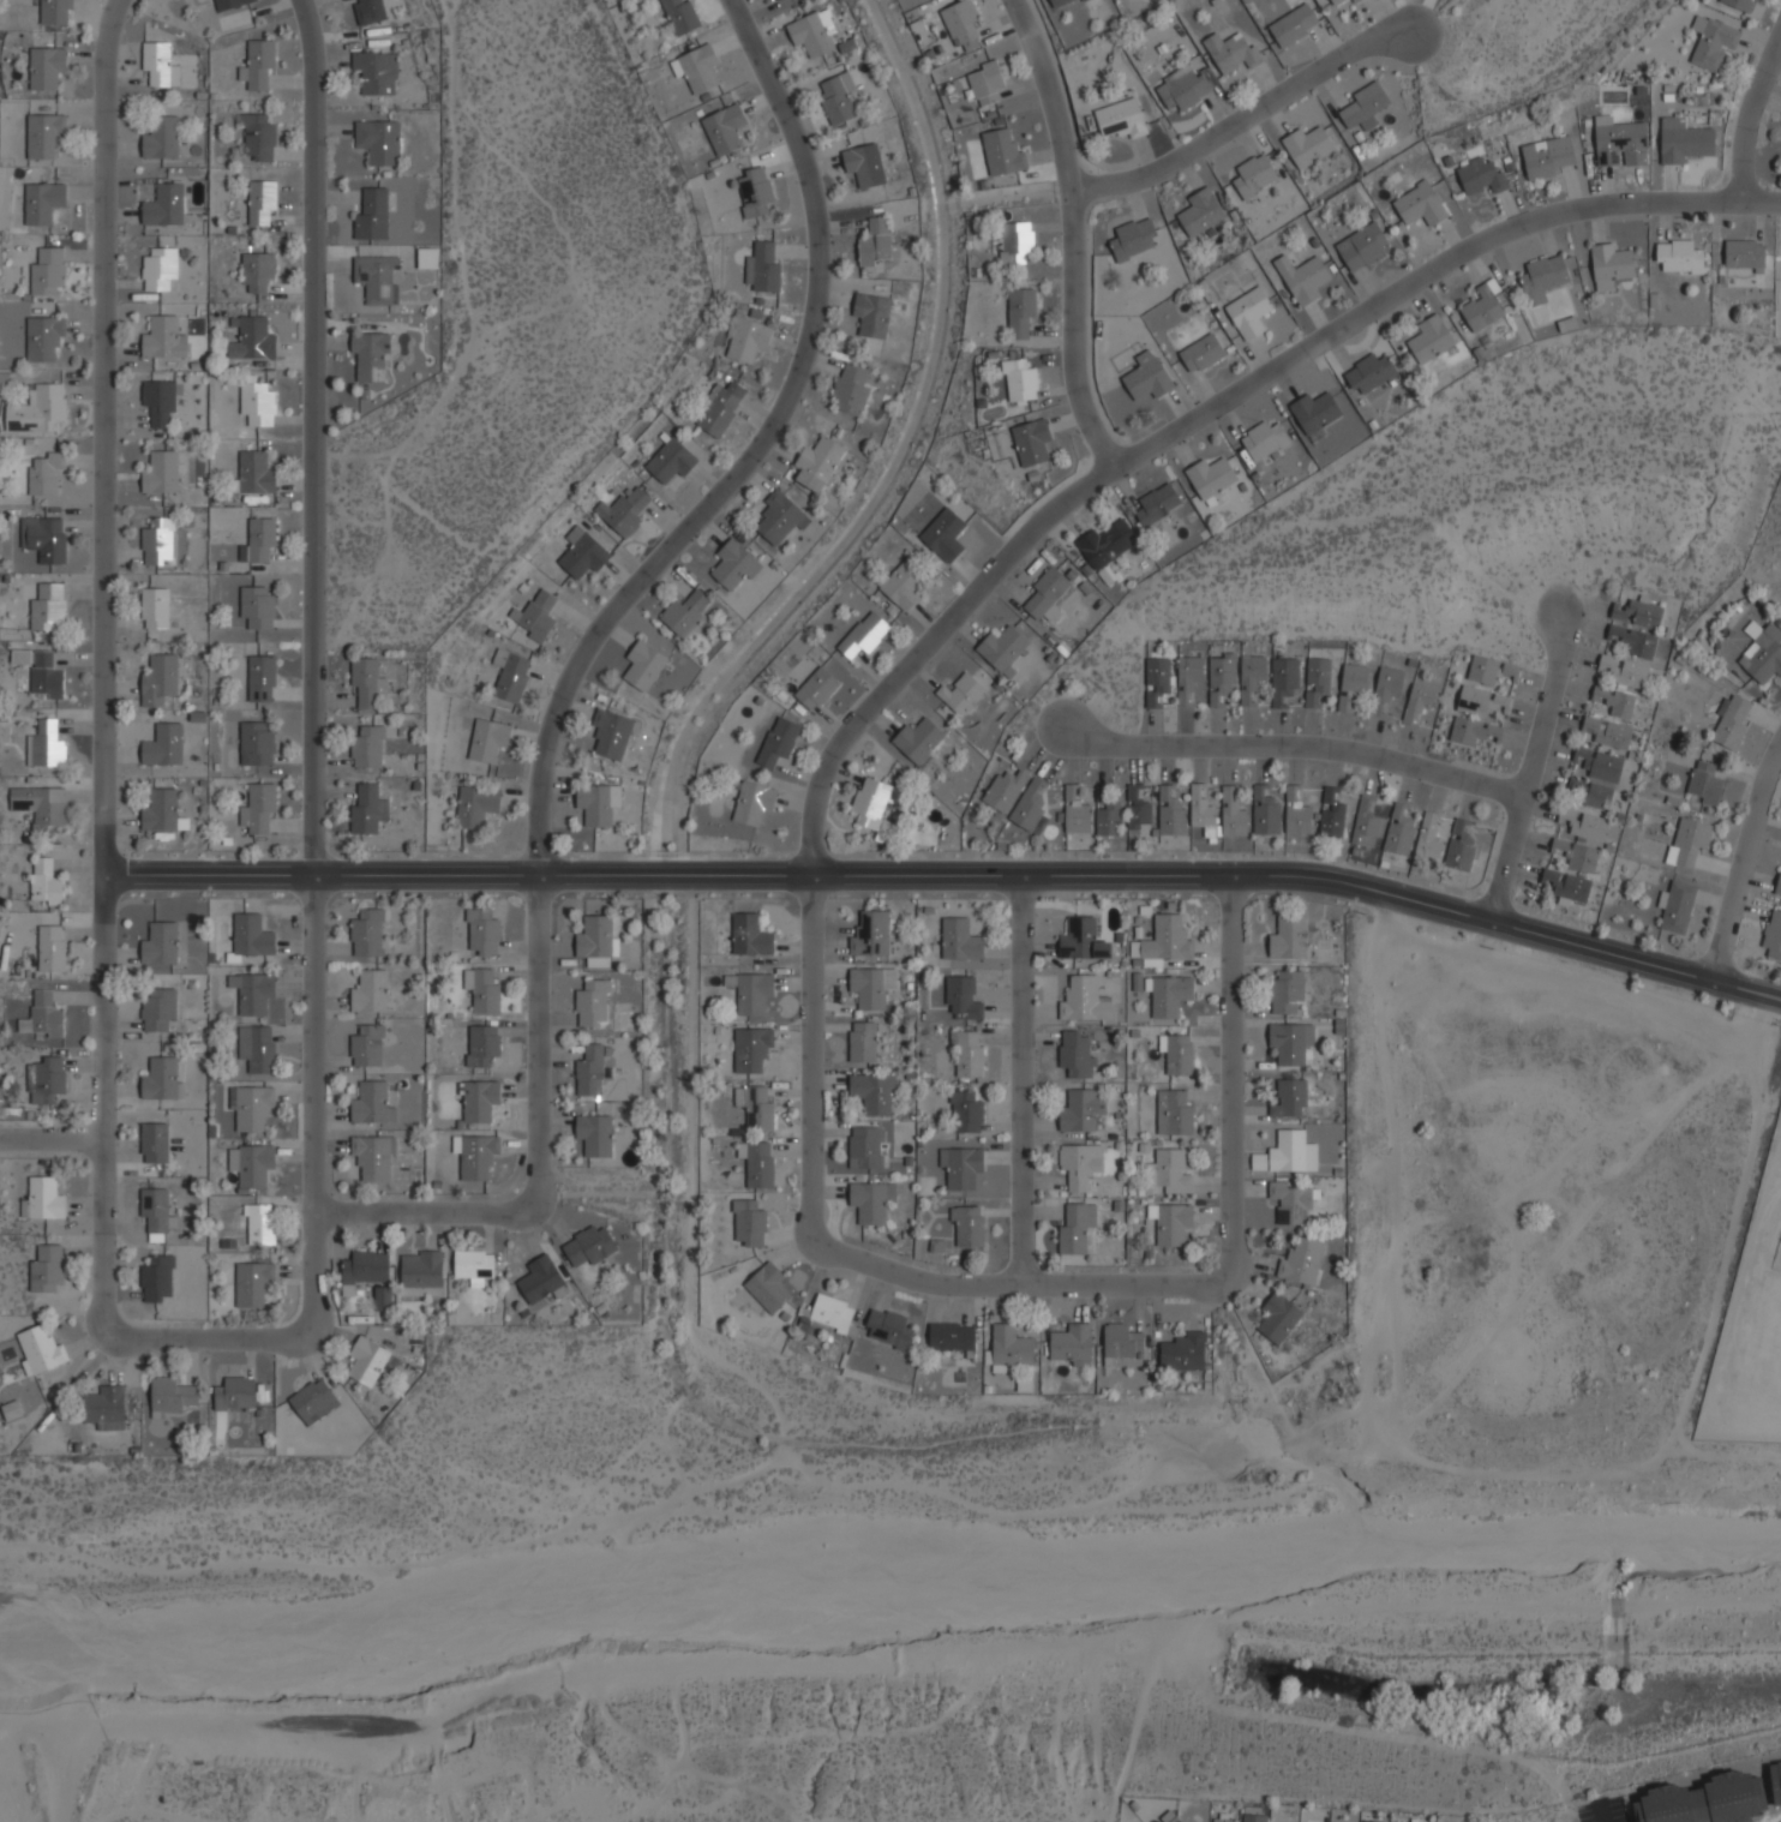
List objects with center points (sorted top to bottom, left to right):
building: (774, 0)
building: (1084, 0)
building: (1336, 1)
building: (1355, 1)
building: (1059, 2)
building: (230, 4)
building: (1739, 4)
building: (367, 11)
building: (54, 12)
building: (680, 16)
building: (960, 22)
building: (1291, 25)
building: (812, 32)
building: (1711, 42)
building: (1231, 52)
building: (258, 65)
building: (157, 66)
building: (46, 67)
building: (696, 68)
building: (376, 72)
building: (985, 83)
building: (1182, 89)
building: (838, 98)
building: (1363, 103)
road: (1245, 115)
road: (1747, 115)
building: (1121, 119)
building: (724, 128)
building: (44, 136)
building: (160, 138)
building: (257, 139)
building: (1681, 140)
building: (378, 142)
building: (1619, 143)
building: (1306, 145)
building: (1002, 152)
building: (1546, 156)
building: (864, 166)
building: (1253, 176)
building: (1480, 176)
building: (754, 192)
building: (260, 202)
building: (41, 203)
building: (162, 205)
building: (1419, 205)
building: (1199, 212)
building: (372, 215)
road: (1074, 233)
building: (1131, 239)
building: (875, 242)
building: (1015, 242)
building: (1362, 247)
building: (1744, 256)
building: (1679, 257)
building: (427, 258)
building: (1609, 265)
building: (157, 268)
building: (762, 268)
building: (257, 270)
building: (47, 271)
building: (1302, 277)
building: (377, 278)
building: (1542, 278)
building: (1482, 306)
building: (1019, 312)
building: (1248, 312)
building: (871, 316)
building: (160, 337)
building: (43, 338)
building: (746, 338)
building: (252, 340)
building: (1429, 340)
building: (1201, 353)
building: (370, 355)
building: (1371, 374)
building: (1146, 377)
building: (1019, 379)
building: (851, 389)
building: (158, 401)
building: (256, 401)
building: (720, 408)
building: (37, 409)
road: (1203, 412)
building: (1314, 412)
road: (311, 436)
building: (1264, 440)
building: (1031, 442)
building: (670, 461)
building: (817, 463)
building: (160, 472)
building: (46, 473)
building: (253, 474)
building: (1210, 479)
building: (1156, 504)
building: (624, 510)
building: (780, 517)
building: (942, 535)
building: (44, 538)
building: (259, 541)
building: (157, 543)
building: (1107, 543)
building: (581, 553)
building: (733, 565)
building: (901, 585)
building: (1045, 592)
building: (48, 607)
building: (257, 607)
building: (154, 609)
building: (685, 612)
building: (1637, 613)
building: (535, 616)
building: (862, 635)
building: (1632, 641)
building: (1001, 648)
building: (1761, 652)
building: (20, 657)
building: (643, 665)
road: (574, 666)
building: (1509, 669)
building: (1482, 670)
building: (1623, 671)
building: (46, 676)
building: (509, 676)
building: (1188, 676)
building: (1251, 676)
building: (260, 678)
building: (158, 679)
building: (1221, 679)
building: (1156, 681)
building: (1283, 681)
building: (364, 682)
building: (1317, 682)
building: (1387, 684)
building: (1350, 685)
building: (815, 689)
building: (961, 693)
building: (1480, 701)
building: (1613, 701)
building: (1417, 702)
building: (1731, 724)
building: (1470, 731)
building: (1607, 732)
building: (611, 733)
building: (486, 739)
building: (917, 739)
building: (776, 743)
building: (162, 744)
building: (256, 744)
road: (1294, 744)
building: (44, 745)
building: (367, 747)
road: (1530, 763)
building: (1599, 763)
building: (1704, 783)
building: (1005, 789)
building: (1591, 793)
building: (751, 802)
building: (598, 803)
building: (870, 804)
building: (40, 807)
building: (474, 807)
building: (1030, 808)
building: (258, 809)
building: (366, 809)
building: (161, 811)
building: (1201, 811)
building: (1265, 811)
building: (1138, 813)
building: (1170, 813)
building: (1296, 813)
building: (1075, 814)
building: (1231, 815)
building: (1331, 815)
building: (1109, 820)
building: (1367, 821)
building: (1583, 823)
building: (1398, 831)
building: (1428, 835)
building: (1687, 843)
building: (1459, 847)
building: (1576, 855)
road: (1741, 862)
road: (948, 875)
building: (46, 882)
building: (1777, 885)
building: (1566, 887)
building: (1677, 906)
building: (366, 931)
building: (481, 931)
building: (870, 934)
building: (252, 935)
building: (1773, 935)
building: (750, 936)
building: (1288, 937)
building: (959, 940)
building: (1081, 940)
building: (594, 941)
building: (1168, 941)
building: (160, 943)
building: (50, 949)
building: (871, 987)
road: (102, 990)
building: (481, 990)
building: (253, 991)
building: (370, 991)
building: (1287, 991)
building: (750, 993)
building: (1168, 995)
building: (961, 997)
building: (590, 1001)
building: (1083, 1001)
building: (157, 1008)
building: (42, 1015)
building: (862, 1042)
building: (1291, 1043)
building: (366, 1045)
building: (481, 1045)
building: (254, 1048)
building: (750, 1049)
building: (966, 1054)
building: (1176, 1054)
building: (1075, 1055)
building: (589, 1069)
building: (161, 1079)
building: (44, 1080)
road: (1020, 1080)
building: (871, 1093)
building: (1289, 1098)
building: (478, 1101)
building: (371, 1104)
building: (251, 1107)
building: (755, 1108)
building: (1081, 1111)
building: (965, 1113)
building: (1173, 1113)
building: (594, 1134)
building: (154, 1143)
building: (864, 1147)
building: (1291, 1152)
building: (474, 1156)
building: (372, 1157)
building: (755, 1163)
building: (251, 1164)
building: (1079, 1164)
building: (959, 1167)
building: (1169, 1171)
building: (42, 1199)
building: (871, 1201)
building: (1291, 1201)
building: (155, 1210)
building: (748, 1223)
building: (1170, 1223)
building: (259, 1224)
building: (967, 1225)
building: (1077, 1230)
building: (588, 1246)
building: (1301, 1261)
building: (472, 1266)
building: (364, 1267)
building: (46, 1269)
building: (420, 1275)
building: (156, 1277)
building: (540, 1279)
building: (252, 1284)
road: (1035, 1285)
building: (767, 1288)
building: (382, 1299)
building: (830, 1313)
building: (1278, 1318)
building: (888, 1329)
building: (951, 1337)
building: (1121, 1341)
building: (1072, 1344)
building: (1009, 1348)
building: (40, 1349)
building: (1182, 1353)
building: (366, 1361)
building: (234, 1395)
building: (169, 1396)
building: (313, 1402)
building: (103, 1408)
river: (889, 1580)
park: (94, 1757)
building: (1775, 1782)
street lamp: (1623, 1796)
building: (1703, 1800)
street lamp: (1572, 1809)
parking lot: (1617, 1809)
road: (1600, 1811)
parking lot: (1583, 1812)
building: (1253, 1818)
building: (1175, 1820)
building: (1222, 1820)
building: (1365, 1821)

